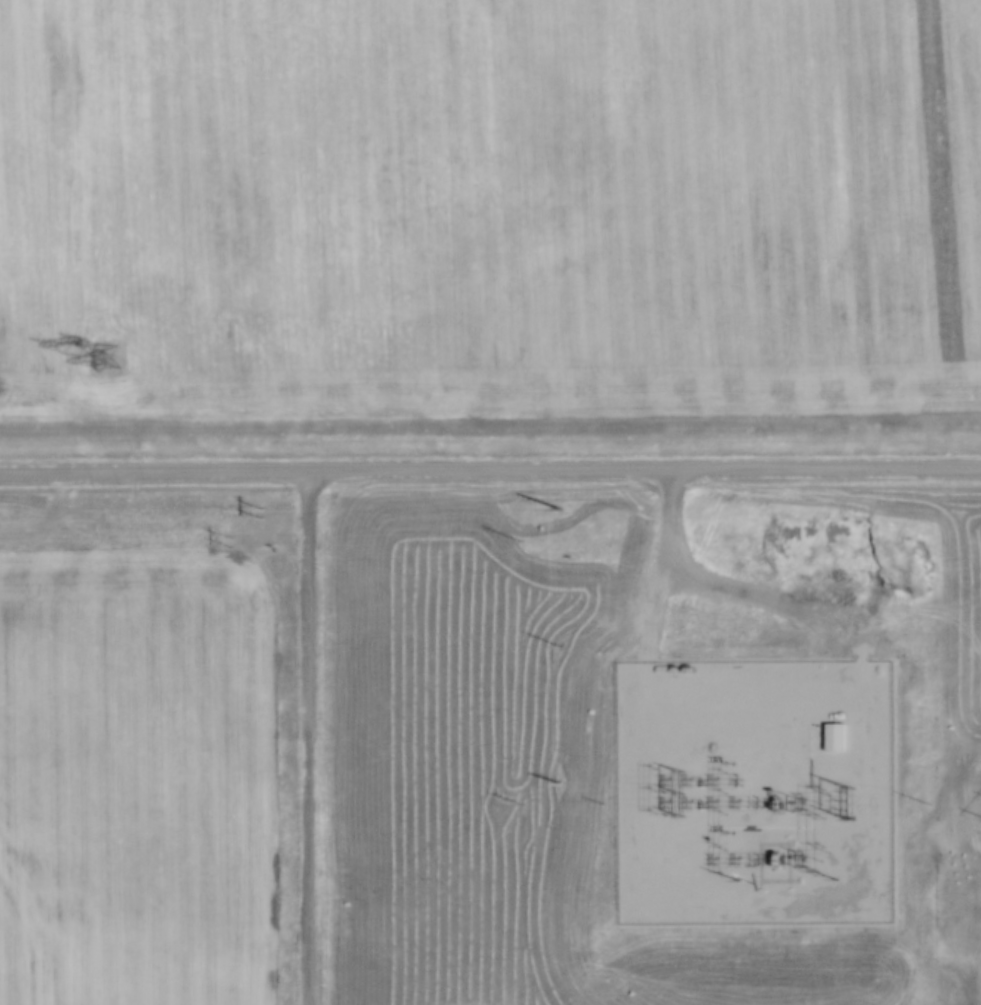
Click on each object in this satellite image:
power tower: (108, 354)
road: (490, 470)
road: (314, 738)
power substation: (750, 790)

